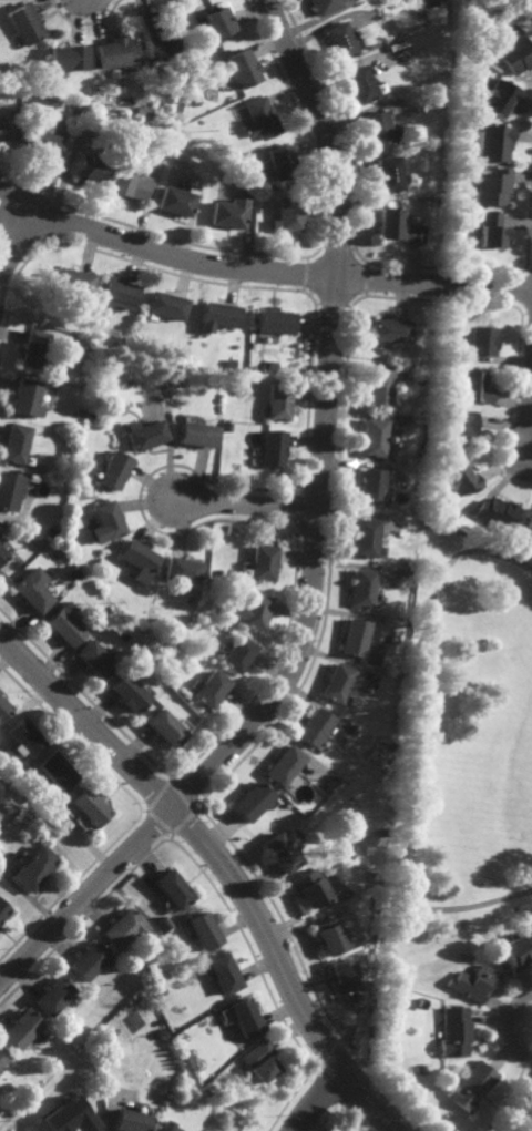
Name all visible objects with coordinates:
building: (320, 4)
building: (214, 23)
building: (25, 24)
building: (338, 38)
building: (158, 43)
building: (483, 49)
building: (470, 51)
building: (114, 53)
building: (516, 53)
building: (66, 57)
building: (241, 68)
building: (358, 83)
building: (500, 94)
building: (258, 119)
building: (376, 126)
building: (1, 132)
building: (494, 141)
building: (40, 143)
building: (279, 163)
building: (89, 167)
building: (387, 172)
building: (129, 185)
building: (492, 185)
building: (173, 202)
building: (451, 208)
building: (226, 214)
building: (286, 215)
building: (396, 225)
building: (490, 228)
road: (247, 271)
building: (71, 281)
building: (116, 293)
building: (166, 306)
building: (216, 316)
building: (274, 320)
building: (388, 330)
building: (483, 339)
building: (32, 349)
building: (460, 356)
building: (413, 380)
building: (376, 386)
building: (474, 387)
building: (24, 397)
building: (276, 401)
road: (530, 420)
building: (459, 427)
building: (143, 434)
building: (195, 435)
building: (370, 437)
building: (14, 441)
building: (270, 449)
building: (419, 449)
building: (113, 470)
building: (461, 478)
building: (368, 487)
building: (10, 490)
building: (386, 490)
road: (248, 502)
building: (497, 512)
building: (529, 521)
building: (105, 522)
building: (362, 538)
road: (318, 541)
building: (2, 554)
building: (137, 559)
building: (263, 563)
building: (182, 570)
building: (360, 589)
building: (32, 590)
building: (252, 611)
building: (65, 625)
building: (352, 639)
building: (237, 654)
building: (98, 659)
building: (335, 683)
building: (208, 689)
building: (131, 693)
building: (2, 707)
building: (166, 727)
building: (311, 728)
park: (464, 734)
building: (22, 735)
road: (409, 746)
building: (282, 767)
building: (59, 770)
building: (325, 787)
building: (247, 801)
building: (286, 805)
building: (90, 807)
building: (82, 823)
building: (381, 832)
building: (279, 847)
road: (222, 865)
building: (37, 869)
building: (305, 886)
building: (173, 890)
building: (3, 910)
building: (126, 927)
building: (202, 929)
building: (327, 935)
building: (515, 949)
building: (90, 962)
building: (222, 972)
building: (340, 975)
building: (472, 982)
building: (55, 996)
building: (243, 1018)
road: (508, 1028)
building: (22, 1029)
building: (453, 1031)
building: (3, 1059)
building: (260, 1060)
building: (470, 1087)
road: (316, 1098)
road: (520, 1111)
building: (69, 1117)
building: (130, 1120)
building: (164, 1125)
building: (213, 1130)
building: (215, 1130)

